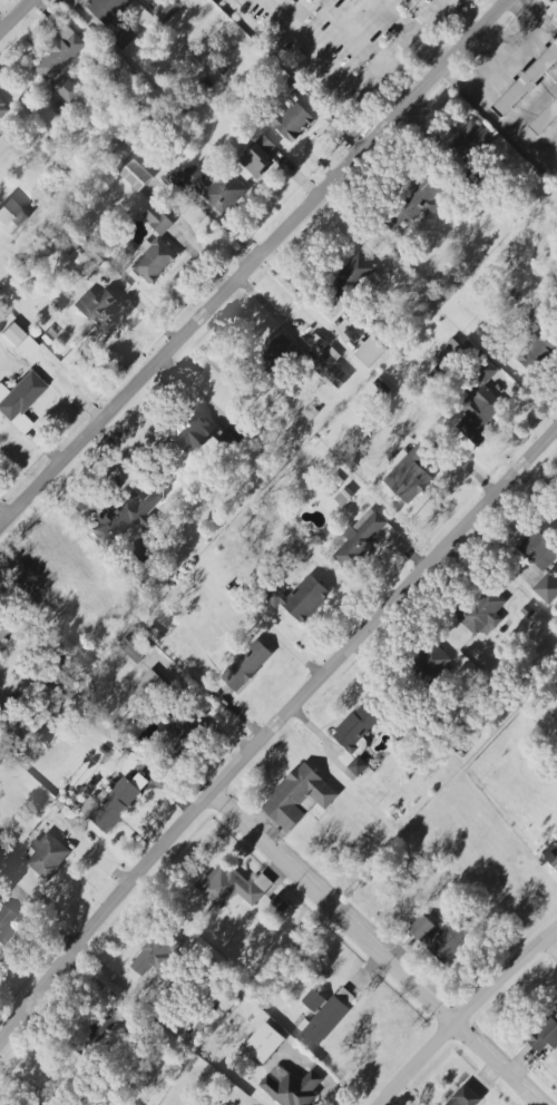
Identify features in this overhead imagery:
road: (377, 2)
building: (169, 10)
road: (273, 12)
road: (392, 18)
road: (19, 19)
building: (111, 20)
road: (410, 36)
building: (58, 55)
building: (209, 60)
road: (510, 61)
road: (335, 72)
building: (527, 81)
building: (67, 89)
road: (23, 100)
building: (3, 110)
building: (290, 113)
building: (546, 121)
building: (0, 135)
road: (314, 136)
building: (467, 141)
building: (258, 156)
building: (137, 176)
building: (422, 199)
building: (11, 216)
building: (158, 221)
building: (155, 260)
building: (88, 264)
road: (257, 267)
building: (353, 277)
building: (97, 305)
building: (333, 310)
building: (536, 343)
building: (371, 352)
building: (447, 352)
building: (278, 355)
building: (332, 369)
building: (20, 400)
building: (479, 405)
building: (192, 433)
building: (235, 433)
building: (409, 475)
building: (128, 516)
building: (363, 538)
building: (539, 551)
building: (547, 588)
building: (300, 598)
building: (482, 613)
building: (2, 633)
building: (431, 662)
building: (247, 666)
building: (155, 684)
building: (179, 728)
road: (272, 735)
building: (355, 739)
building: (0, 756)
building: (297, 796)
building: (114, 802)
building: (48, 855)
building: (553, 859)
building: (232, 886)
building: (441, 938)
road: (384, 948)
building: (155, 954)
building: (345, 997)
road: (470, 1018)
building: (323, 1019)
building: (545, 1036)
building: (265, 1043)
building: (293, 1089)
building: (465, 1097)

